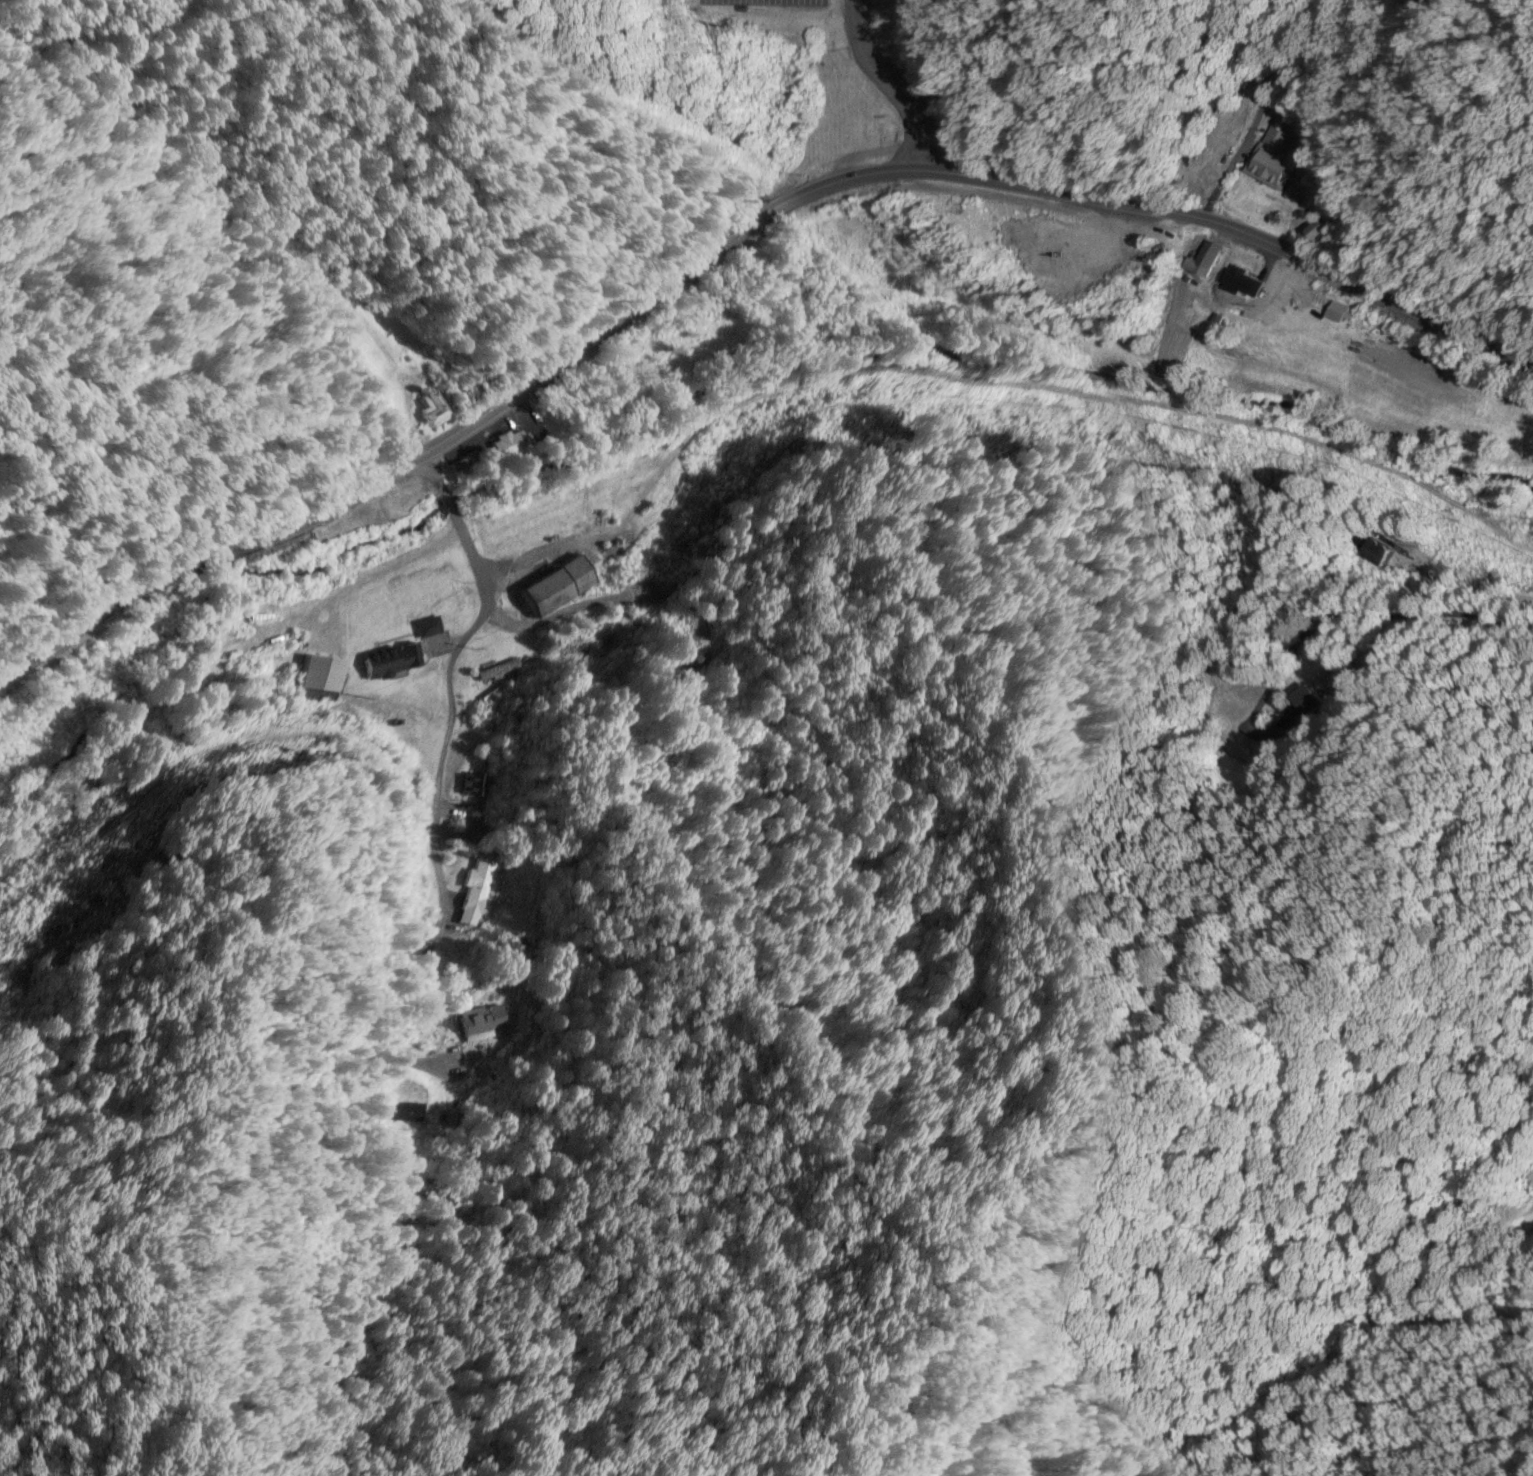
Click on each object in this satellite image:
road: (890, 87)
road: (1331, 127)
building: (1268, 171)
road: (727, 247)
building: (1204, 261)
building: (1243, 283)
building: (1337, 314)
building: (429, 411)
building: (504, 447)
road: (434, 474)
road: (445, 502)
building: (556, 588)
building: (426, 629)
building: (584, 648)
building: (391, 662)
building: (694, 666)
building: (494, 671)
building: (321, 675)
building: (475, 785)
road: (443, 813)
building: (476, 892)
building: (470, 1024)
building: (1458, 1204)

